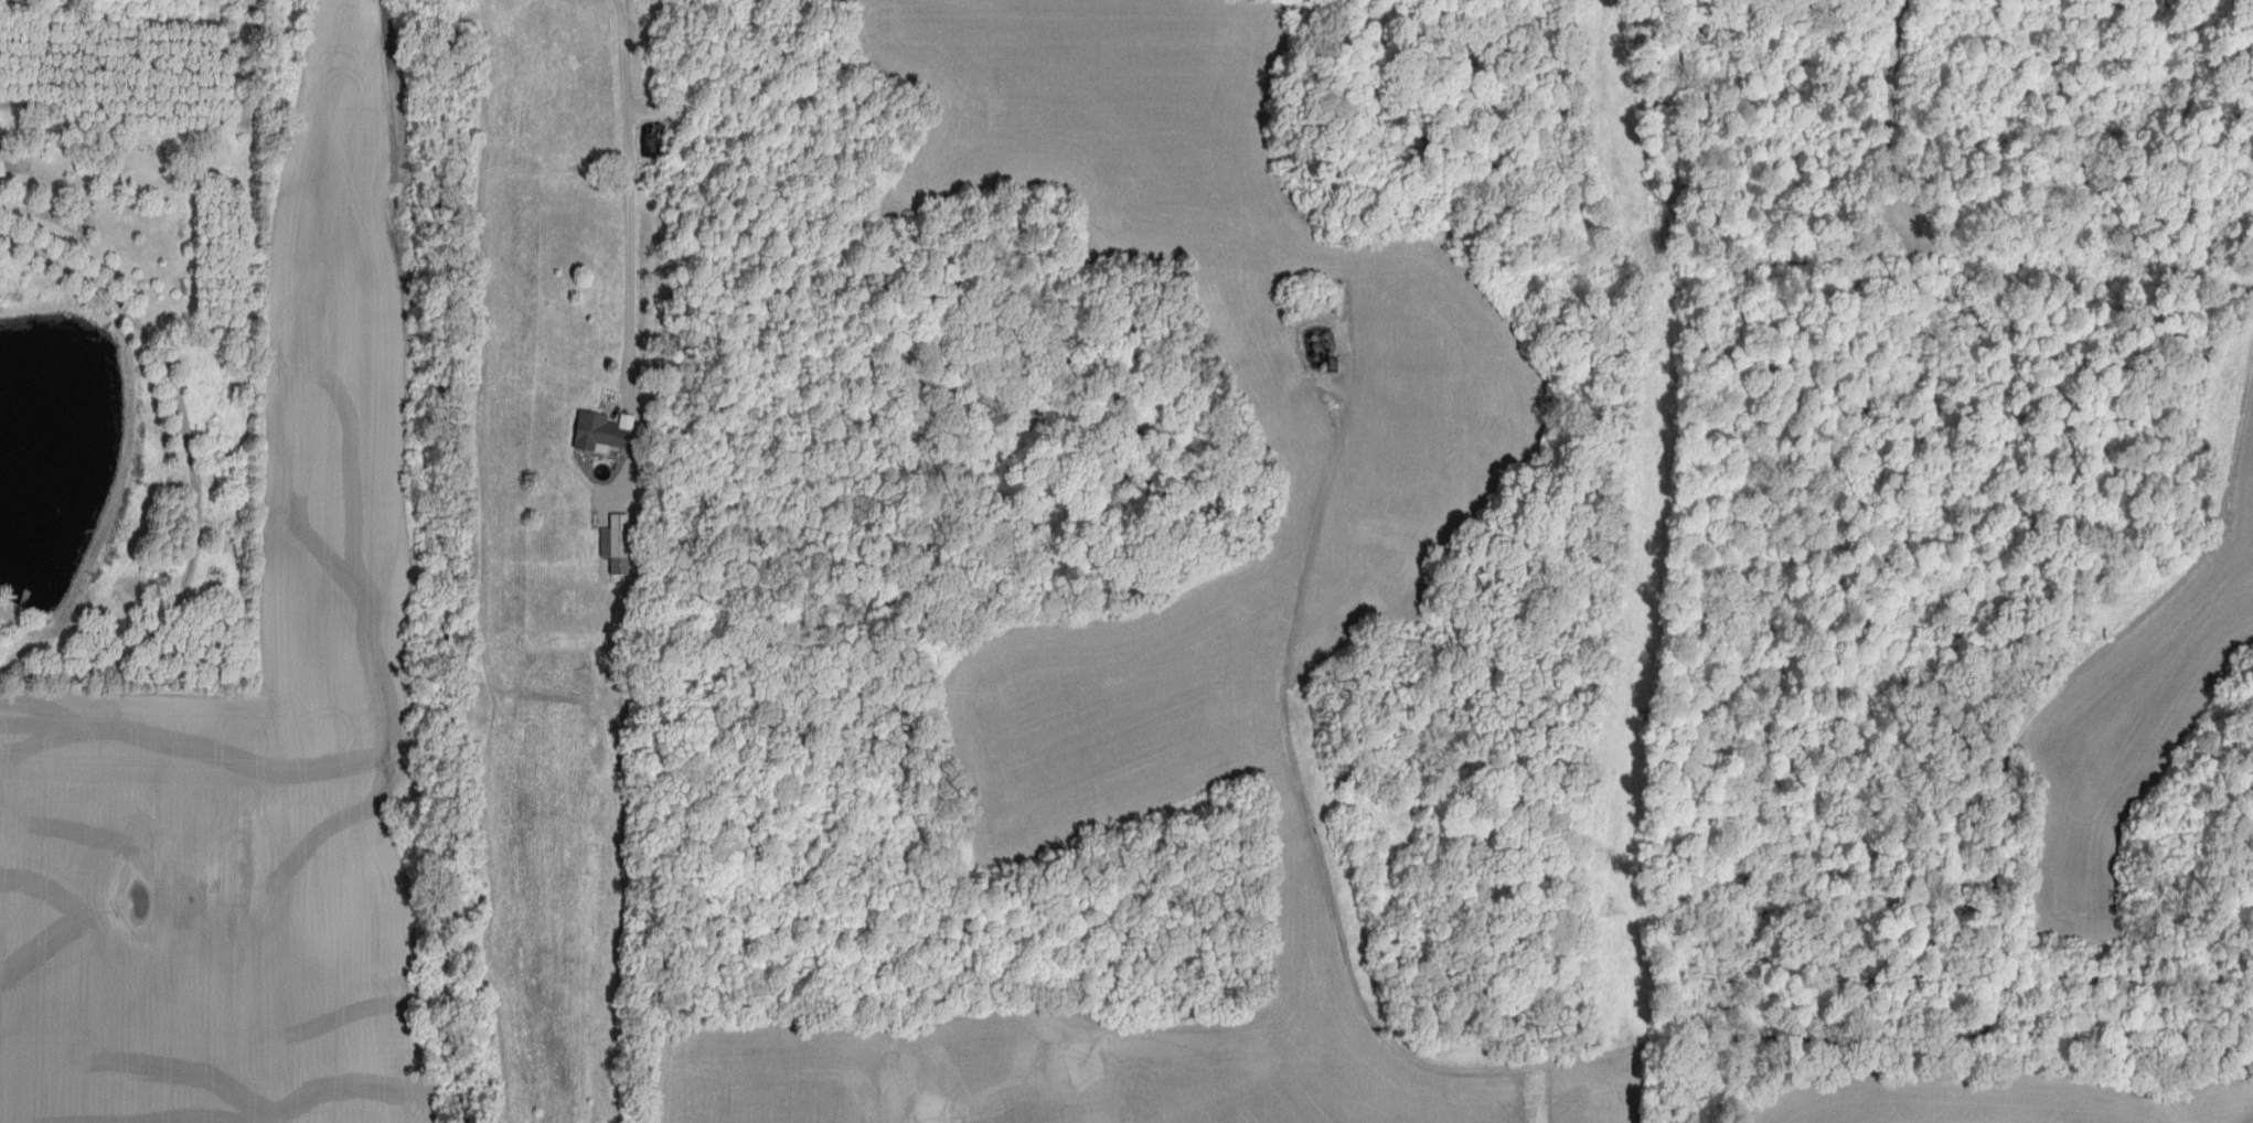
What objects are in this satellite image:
road: (630, 193)
building: (617, 549)
road: (1727, 1042)

